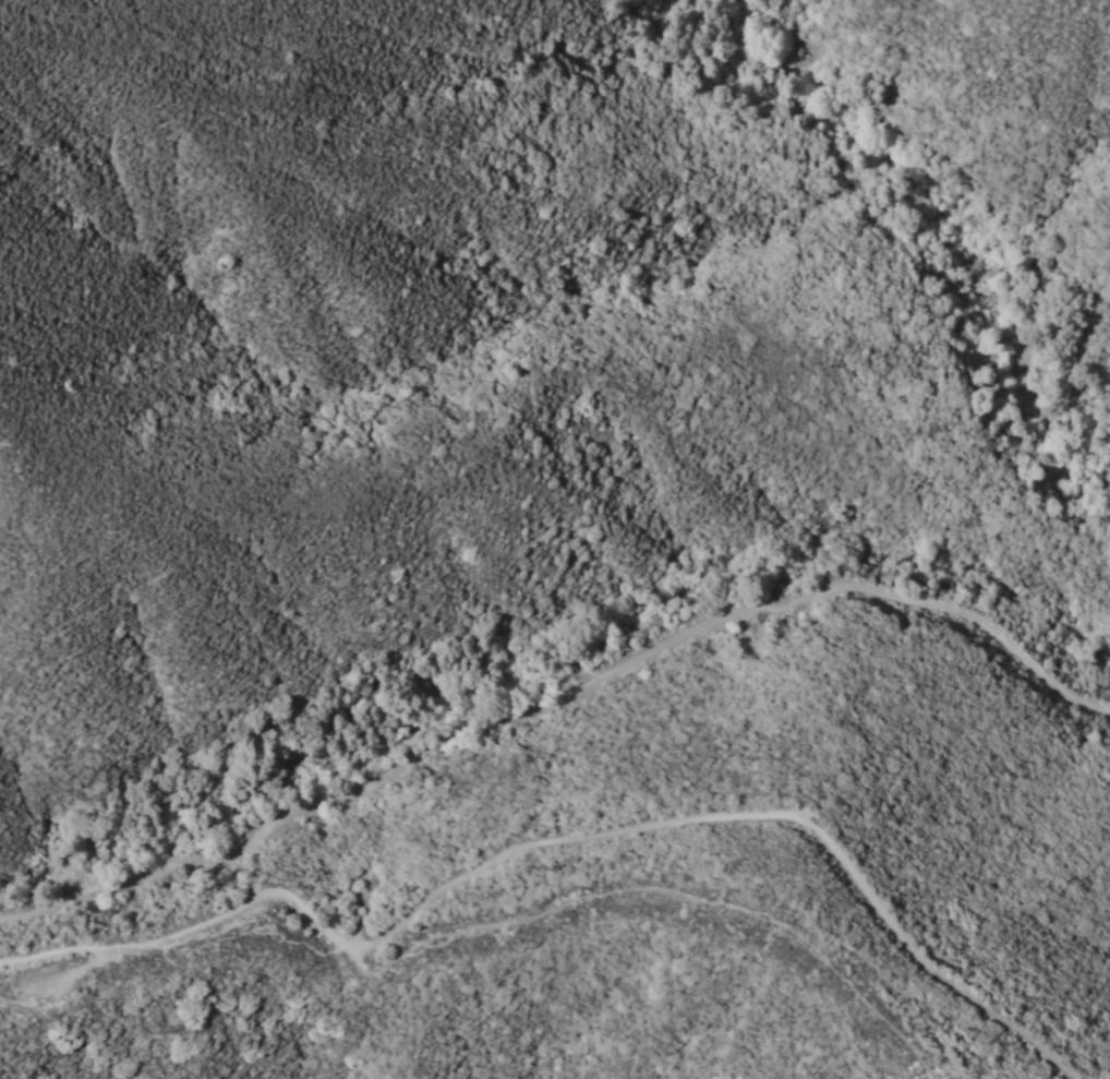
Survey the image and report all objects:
road: (558, 699)
road: (558, 846)
road: (659, 886)

